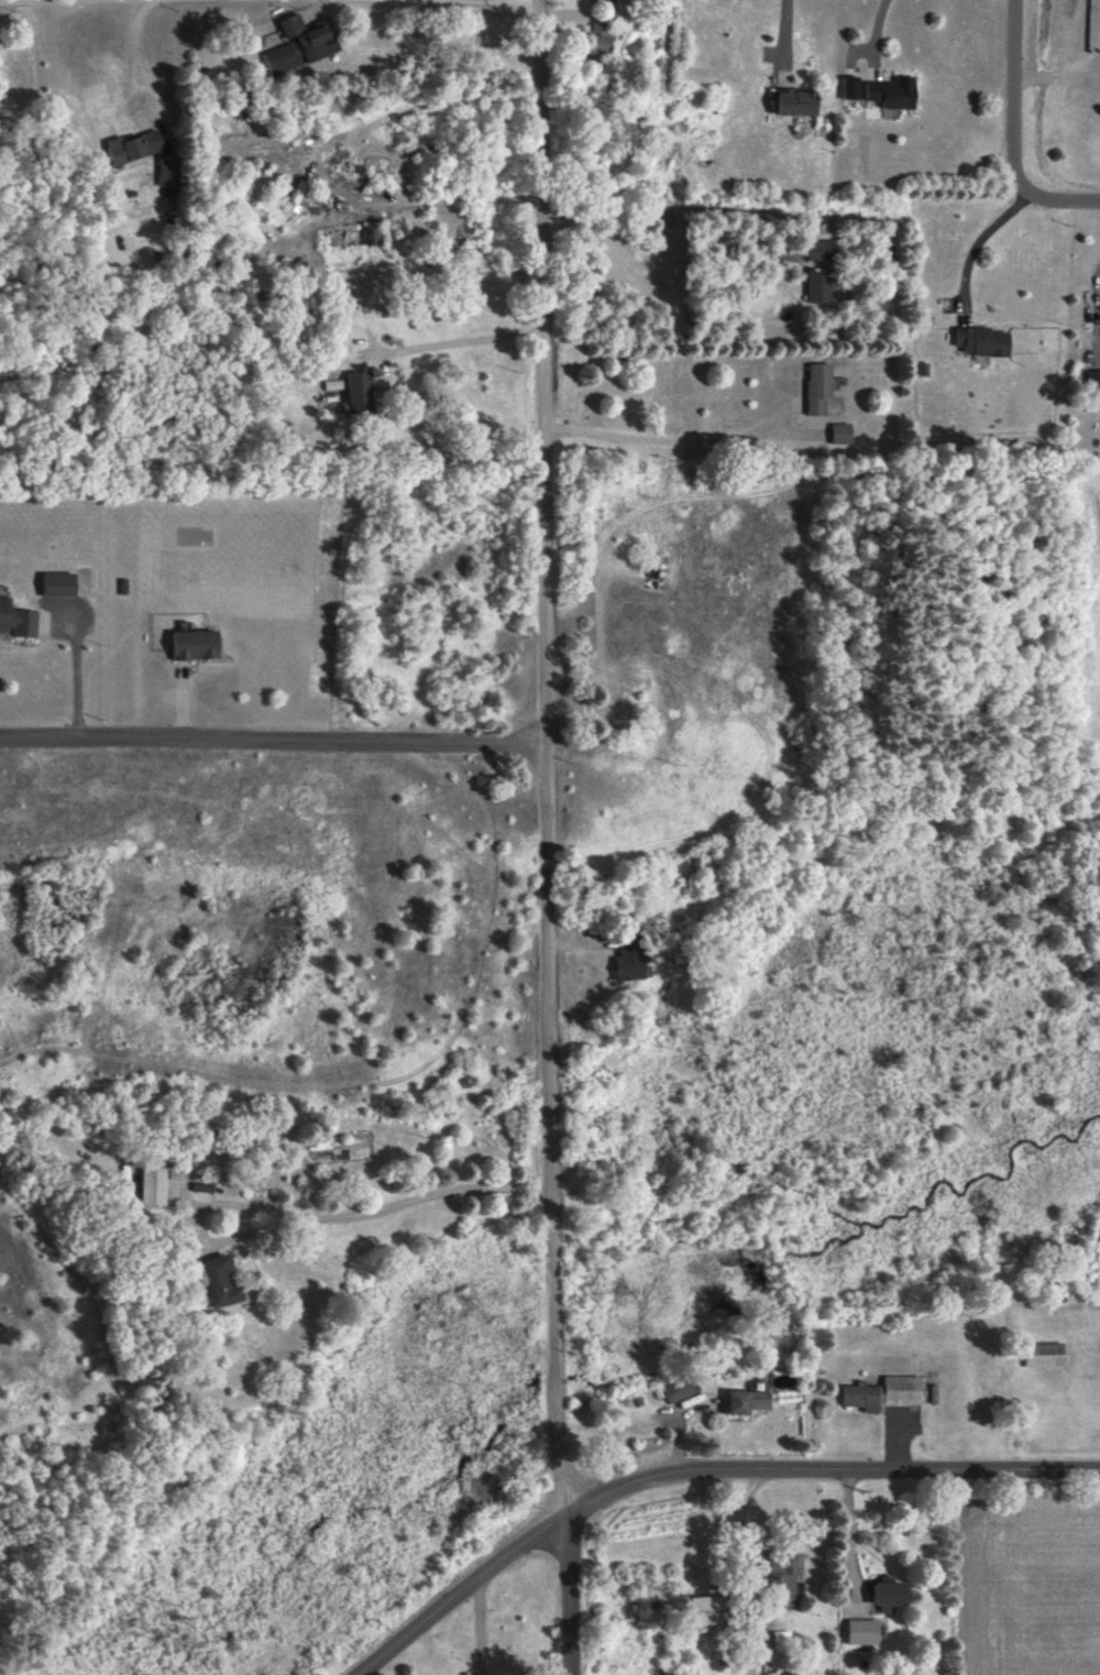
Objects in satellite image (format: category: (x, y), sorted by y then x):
road: (152, 0)
road: (782, 34)
building: (597, 37)
building: (298, 44)
road: (133, 57)
building: (879, 91)
building: (793, 101)
road: (1013, 135)
building: (131, 146)
building: (165, 168)
road: (684, 208)
road: (983, 238)
building: (817, 250)
building: (816, 286)
road: (1086, 299)
building: (981, 341)
road: (459, 342)
building: (1092, 383)
building: (815, 387)
building: (838, 433)
road: (658, 438)
building: (56, 584)
building: (15, 620)
building: (193, 645)
road: (75, 675)
road: (272, 737)
road: (544, 757)
building: (628, 956)
building: (152, 1185)
road: (356, 1214)
building: (218, 1281)
building: (1041, 1355)
building: (675, 1389)
building: (881, 1393)
building: (744, 1401)
road: (701, 1474)
road: (847, 1532)
building: (778, 1578)
road: (571, 1595)
building: (887, 1595)
building: (703, 1610)
building: (860, 1632)
building: (779, 1639)
building: (787, 1674)

